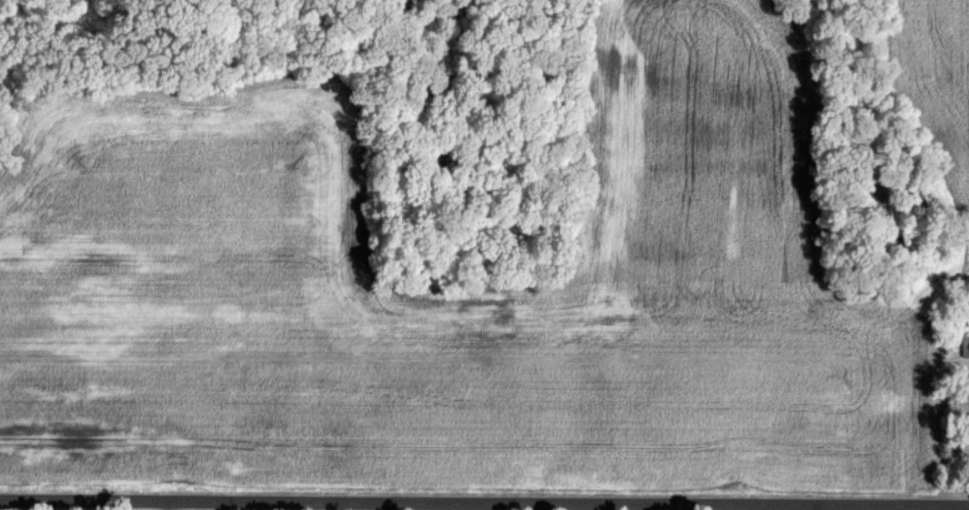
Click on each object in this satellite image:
building: (966, 348)
road: (484, 504)
road: (166, 506)
road: (220, 506)
park: (935, 509)
parking lot: (949, 509)
road: (960, 509)

